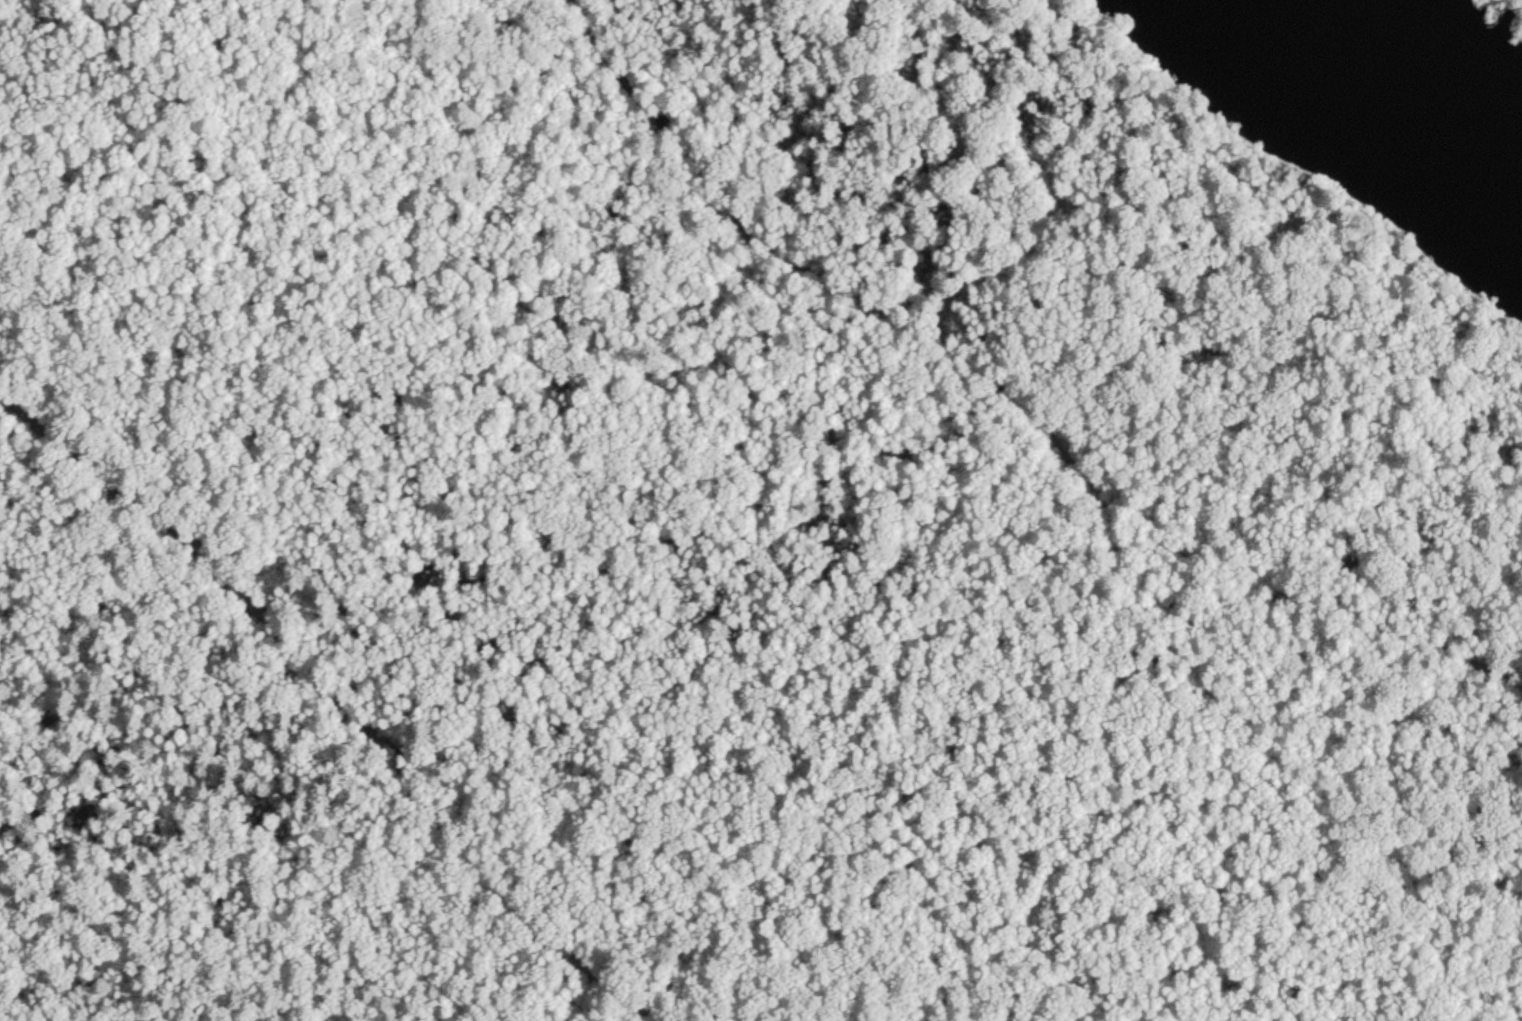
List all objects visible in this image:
park: (1442, 52)
river: (1417, 96)
road: (1011, 396)
park: (728, 531)
road: (346, 703)

